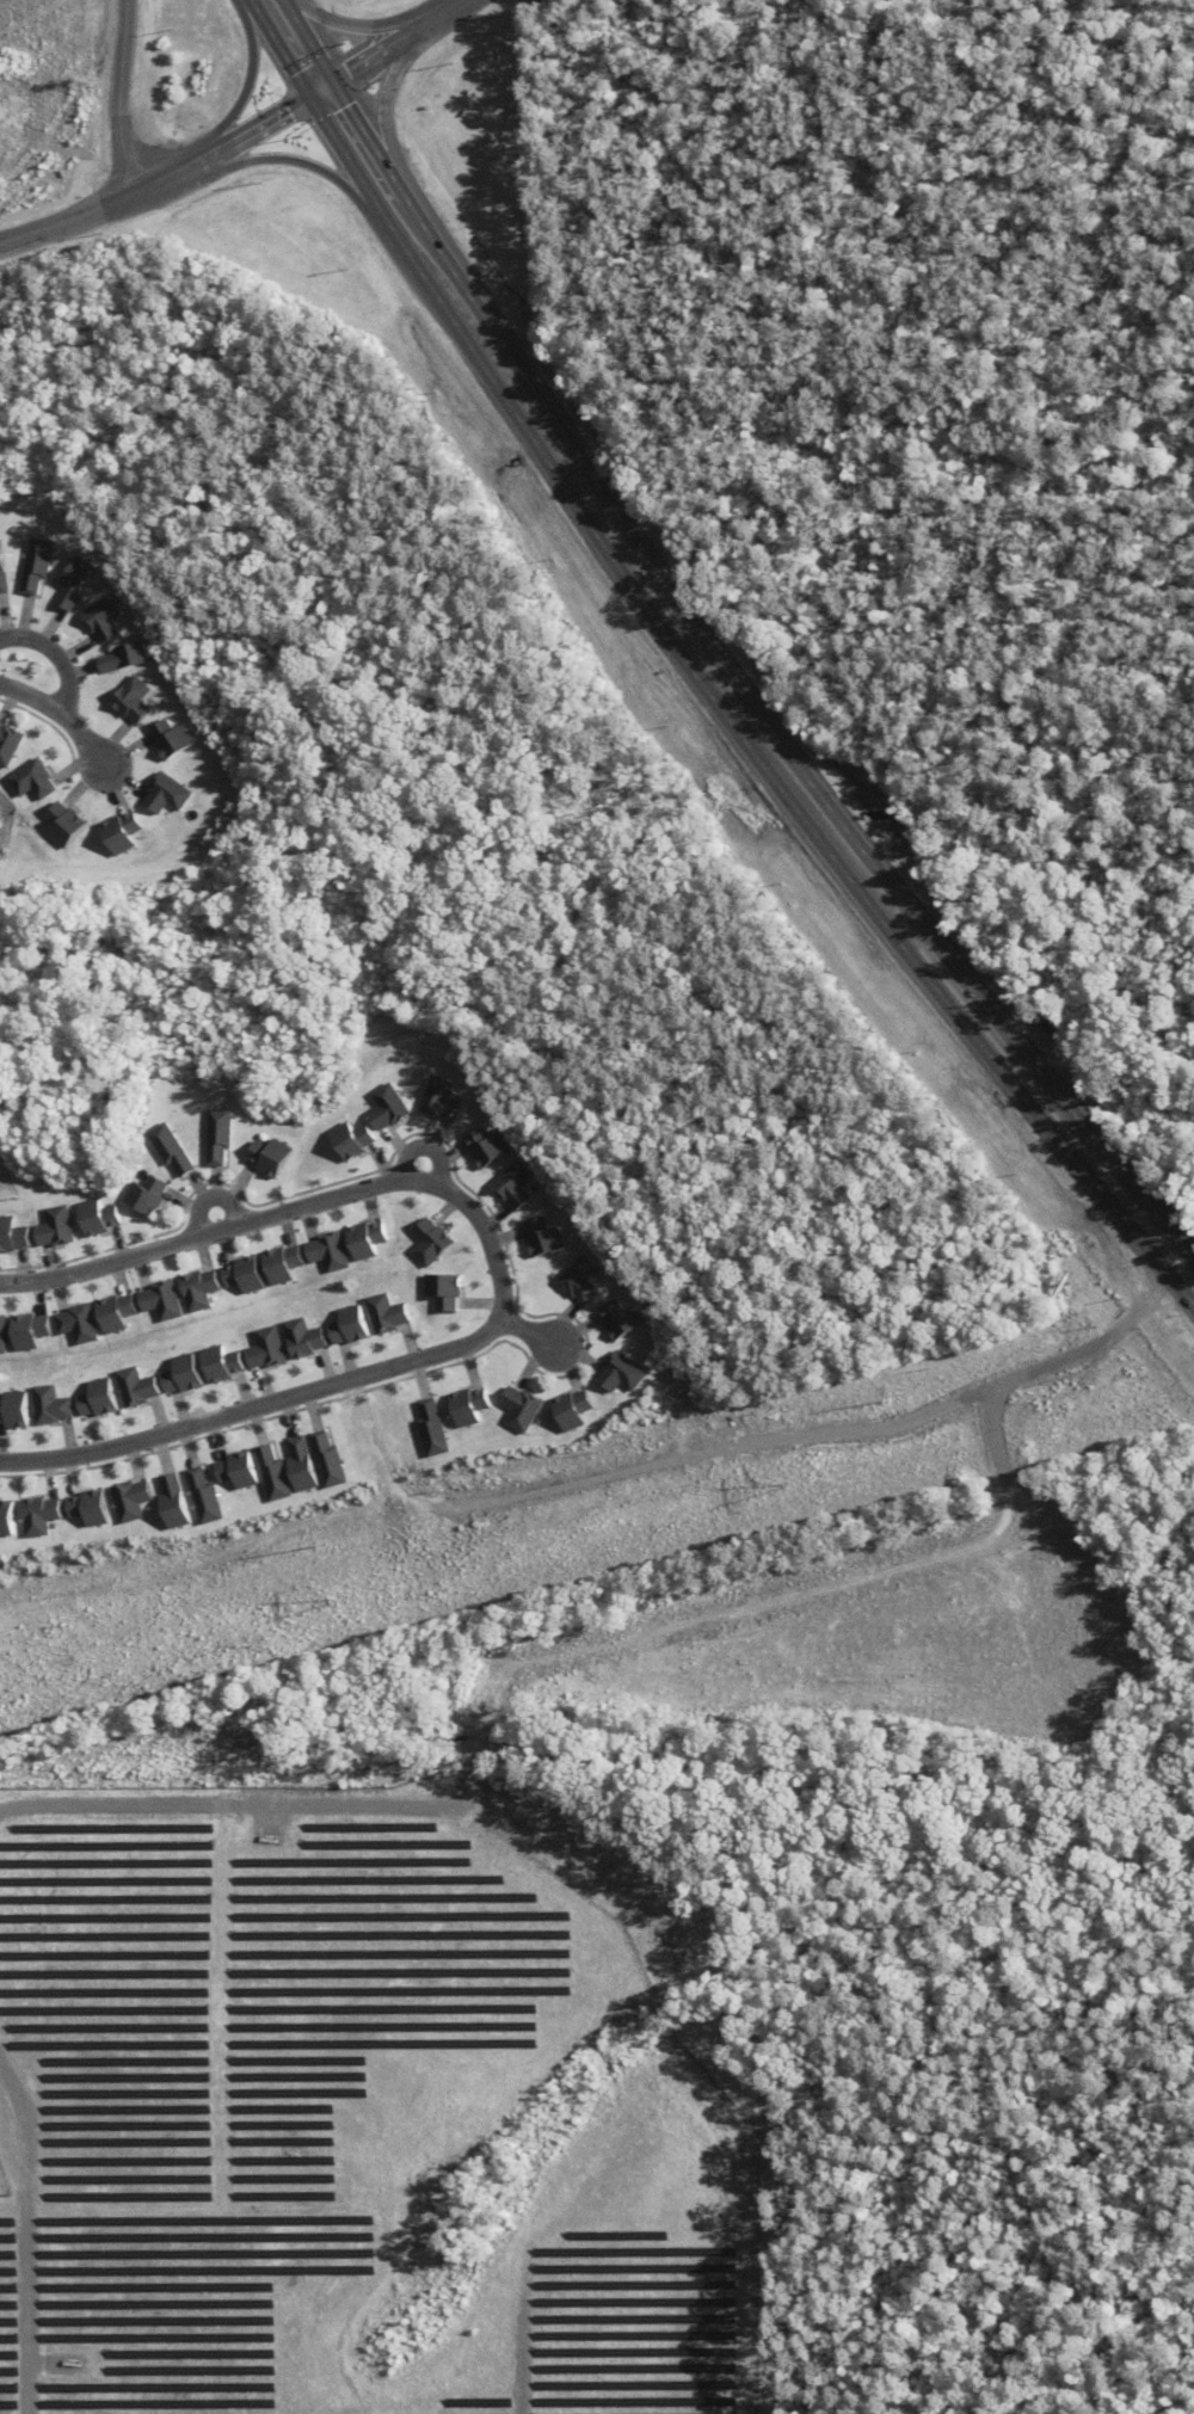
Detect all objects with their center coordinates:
road: (463, 4)
road: (441, 18)
road: (349, 27)
road: (306, 42)
road: (277, 49)
road: (376, 56)
road: (248, 82)
traffic signals: (332, 85)
road: (118, 97)
traffic signals: (307, 98)
road: (380, 104)
road: (261, 123)
road: (357, 127)
road: (289, 158)
road: (166, 178)
road: (401, 201)
road: (69, 221)
road: (456, 289)
building: (33, 565)
building: (2, 574)
building: (72, 581)
building: (99, 617)
road: (55, 657)
building: (122, 657)
building: (128, 698)
road: (61, 718)
road: (725, 719)
building: (167, 738)
building: (7, 743)
building: (30, 780)
building: (164, 794)
road: (827, 813)
building: (63, 823)
building: (119, 832)
road: (904, 931)
building: (439, 1100)
building: (387, 1107)
building: (217, 1135)
building: (351, 1139)
road: (426, 1146)
building: (486, 1147)
building: (170, 1149)
building: (270, 1156)
building: (513, 1186)
building: (146, 1195)
road: (210, 1199)
building: (97, 1217)
building: (55, 1227)
building: (12, 1234)
building: (543, 1238)
building: (370, 1239)
building: (435, 1243)
building: (332, 1251)
building: (287, 1264)
building: (247, 1275)
road: (503, 1277)
building: (580, 1280)
building: (202, 1289)
building: (448, 1292)
building: (165, 1301)
building: (119, 1313)
building: (392, 1313)
building: (621, 1319)
building: (80, 1324)
building: (353, 1325)
road: (530, 1330)
building: (31, 1331)
building: (4, 1335)
building: (307, 1337)
building: (269, 1349)
building: (205, 1368)
building: (622, 1373)
building: (141, 1386)
building: (103, 1397)
building: (54, 1405)
building: (468, 1405)
building: (18, 1409)
building: (522, 1409)
building: (573, 1409)
building: (431, 1429)
building: (326, 1460)
building: (300, 1465)
building: (236, 1470)
building: (271, 1473)
power tower: (783, 1486)
building: (202, 1497)
building: (130, 1499)
building: (172, 1503)
building: (88, 1508)
building: (39, 1515)
building: (6, 1519)
power tower: (324, 1603)
solar farm: (345, 2124)

